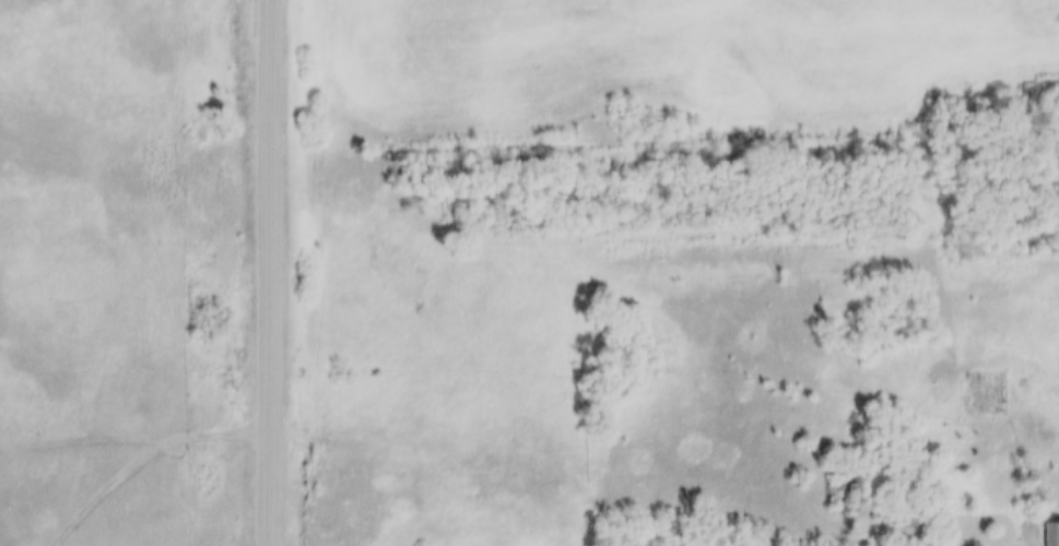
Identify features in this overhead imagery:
road: (266, 273)
road: (141, 456)
building: (902, 509)
building: (913, 522)
building: (1048, 529)

